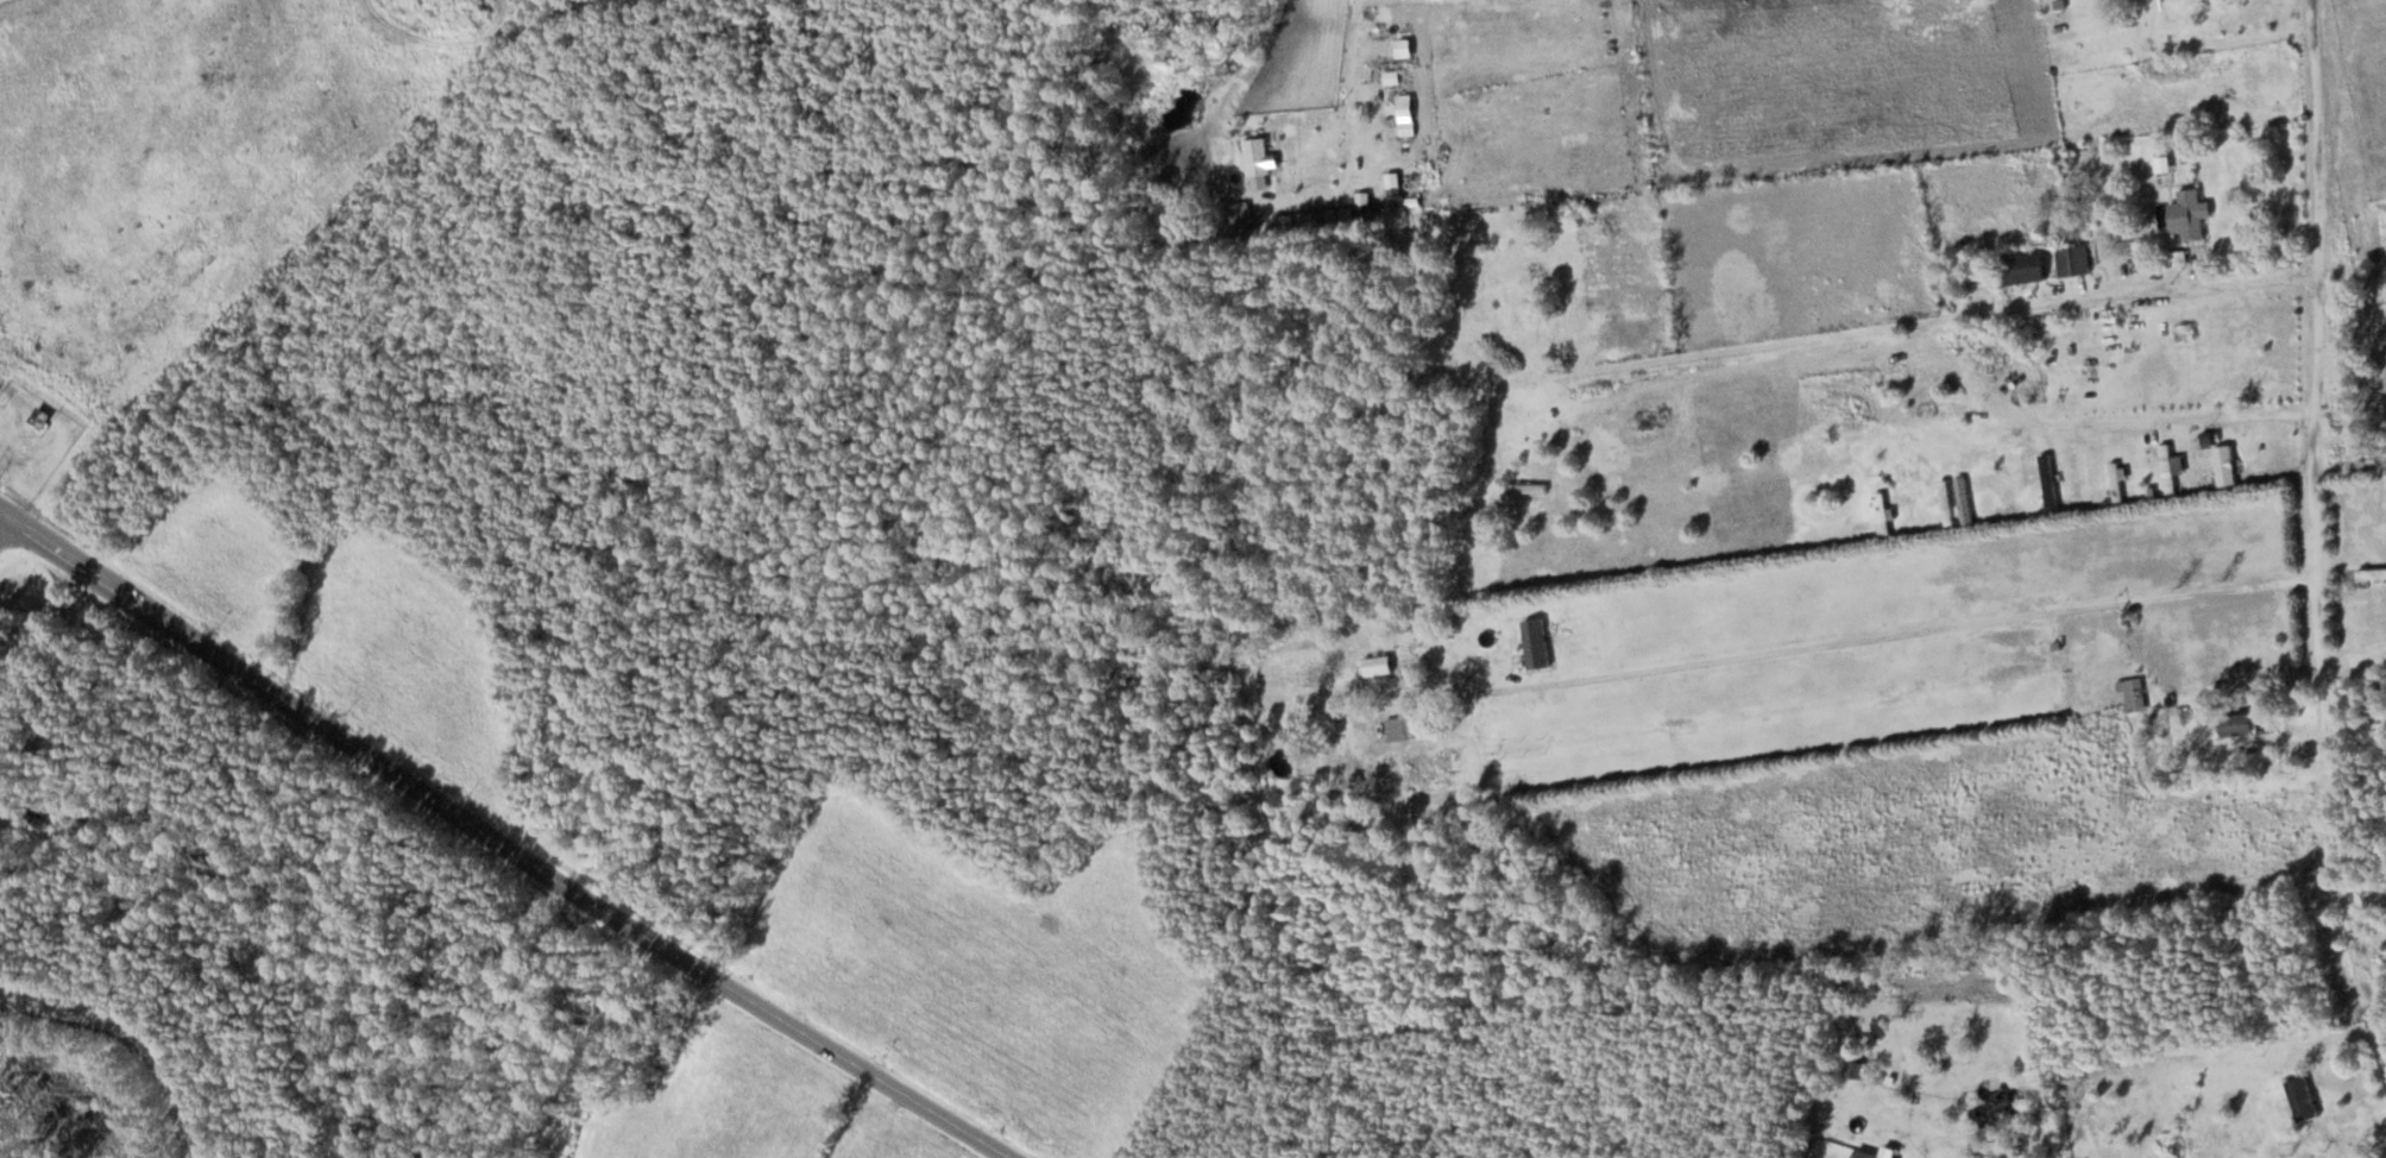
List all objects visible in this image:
road: (417, 40)
crop: (1296, 56)
building: (1397, 76)
crop: (1834, 83)
crop: (1530, 102)
building: (1404, 107)
road: (1347, 132)
crop: (1209, 157)
building: (1258, 161)
building: (1395, 203)
building: (2189, 212)
building: (1316, 220)
building: (1228, 222)
building: (1285, 222)
building: (2072, 260)
building: (2023, 266)
building: (1971, 275)
road: (1899, 325)
building: (1915, 405)
road: (2179, 420)
building: (2224, 465)
building: (2166, 468)
building: (2048, 482)
building: (2115, 482)
building: (1524, 487)
building: (1946, 502)
building: (1881, 512)
road: (5, 522)
crop: (2354, 527)
road: (2313, 529)
crop: (210, 556)
building: (2381, 606)
road: (1884, 634)
building: (1535, 643)
crop: (404, 660)
road: (2353, 660)
building: (1377, 665)
building: (2132, 693)
building: (1406, 725)
building: (2235, 725)
road: (2286, 740)
building: (2236, 748)
crop: (1912, 839)
road: (499, 844)
crop: (980, 970)
road: (132, 1034)
road: (2336, 1045)
building: (1852, 1068)
crop: (1907, 1071)
building: (1878, 1077)
building: (2302, 1097)
crop: (749, 1106)
building: (1874, 1153)
road: (1925, 1157)

